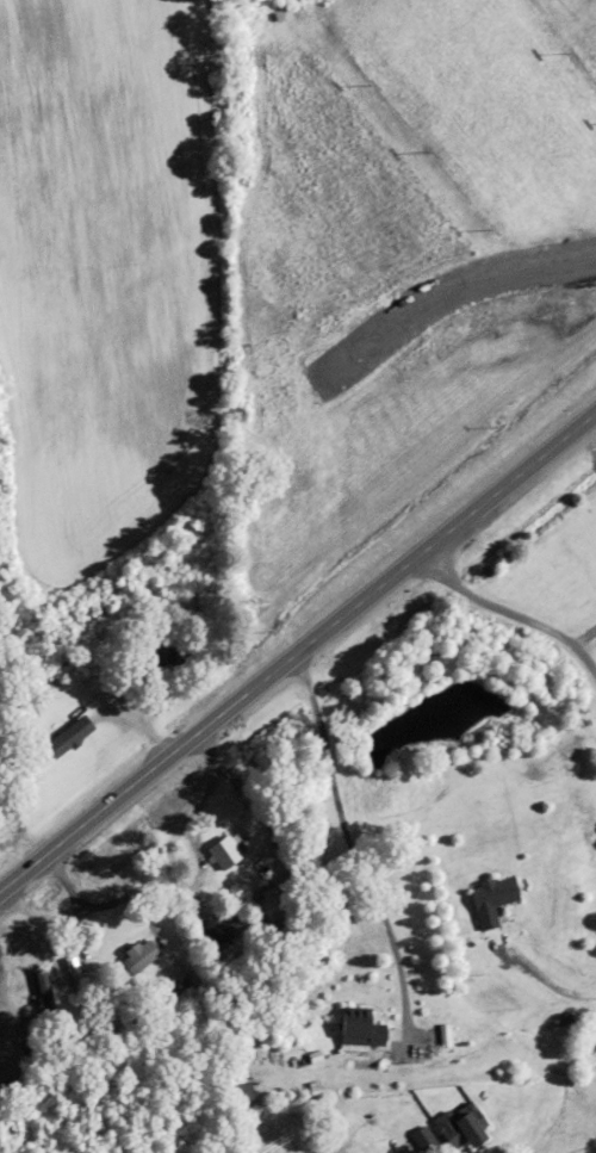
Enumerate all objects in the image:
park: (404, 182)
road: (585, 442)
road: (510, 612)
road: (582, 636)
road: (297, 647)
building: (168, 653)
building: (70, 736)
road: (349, 844)
building: (228, 850)
building: (493, 899)
building: (277, 903)
building: (222, 929)
building: (141, 955)
road: (533, 975)
building: (76, 977)
building: (45, 991)
building: (362, 1028)
road: (397, 1143)
road: (588, 1149)

